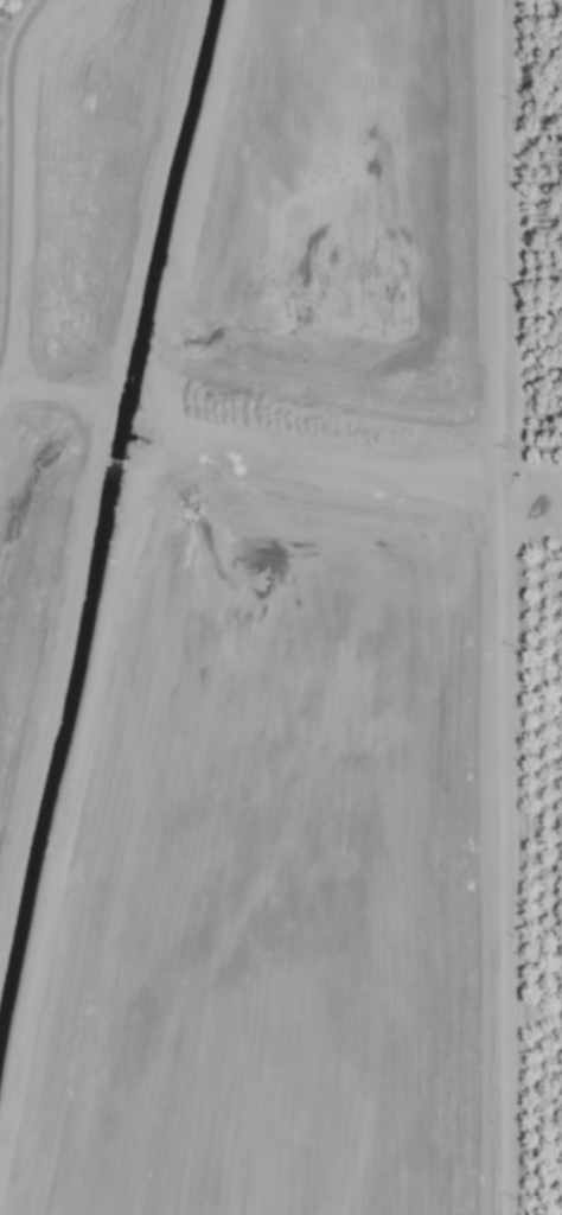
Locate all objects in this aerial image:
crop: (281, 607)

